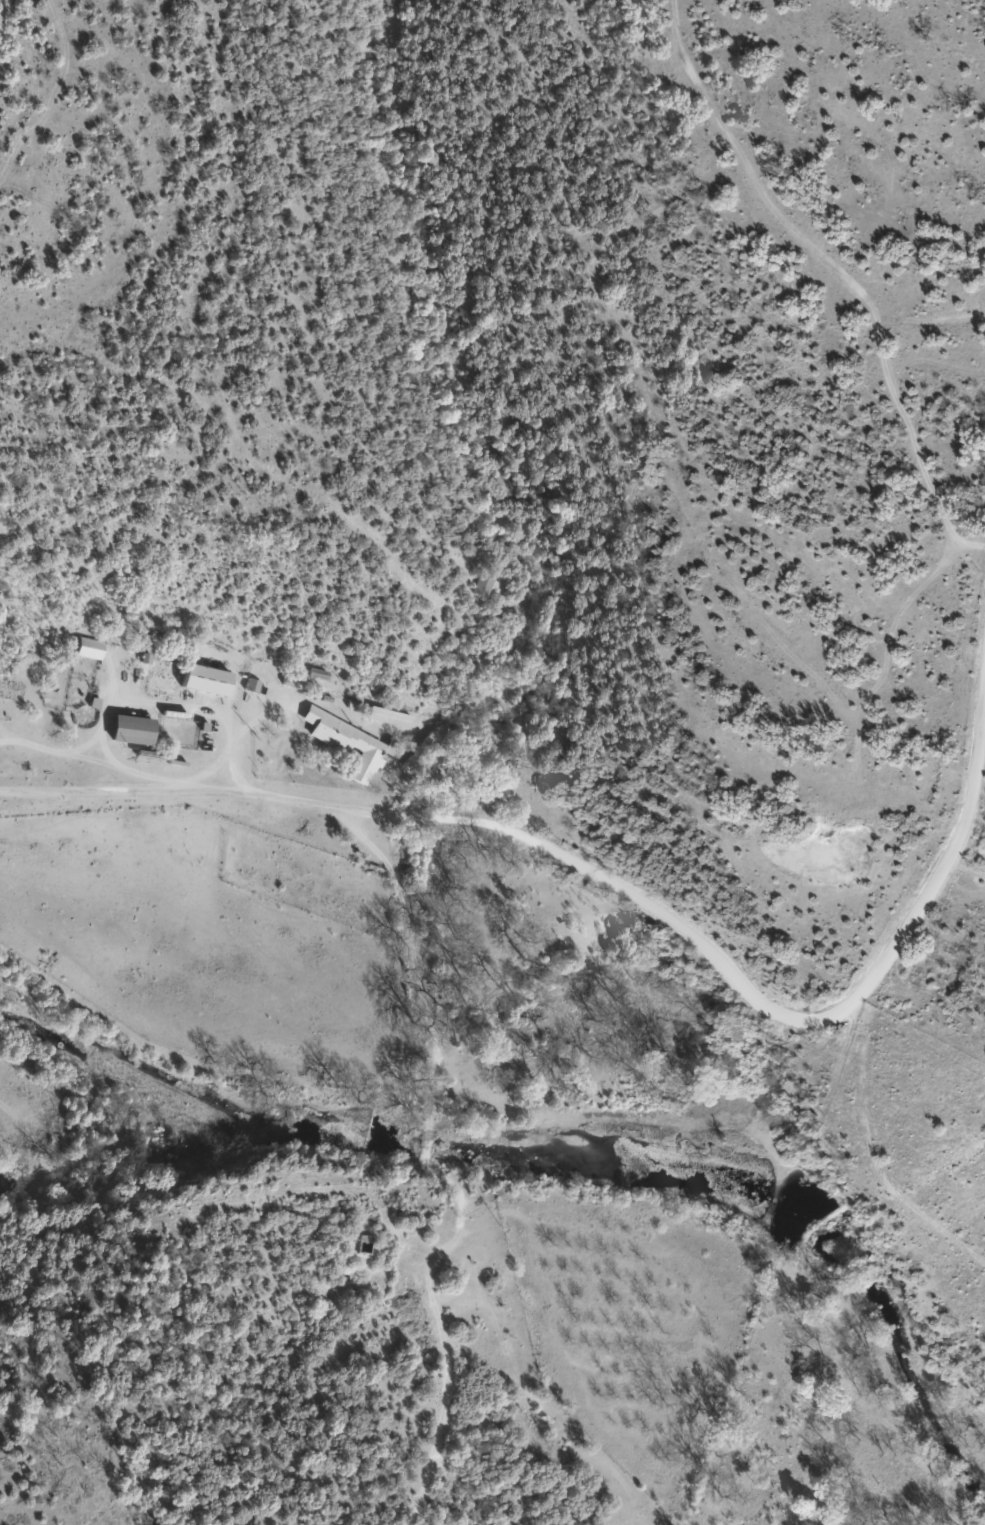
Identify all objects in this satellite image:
building: (485, 585)
road: (625, 607)
building: (92, 649)
building: (210, 681)
building: (395, 719)
building: (138, 731)
building: (353, 744)
building: (422, 751)
road: (600, 915)
road: (878, 1179)
road: (781, 1245)

